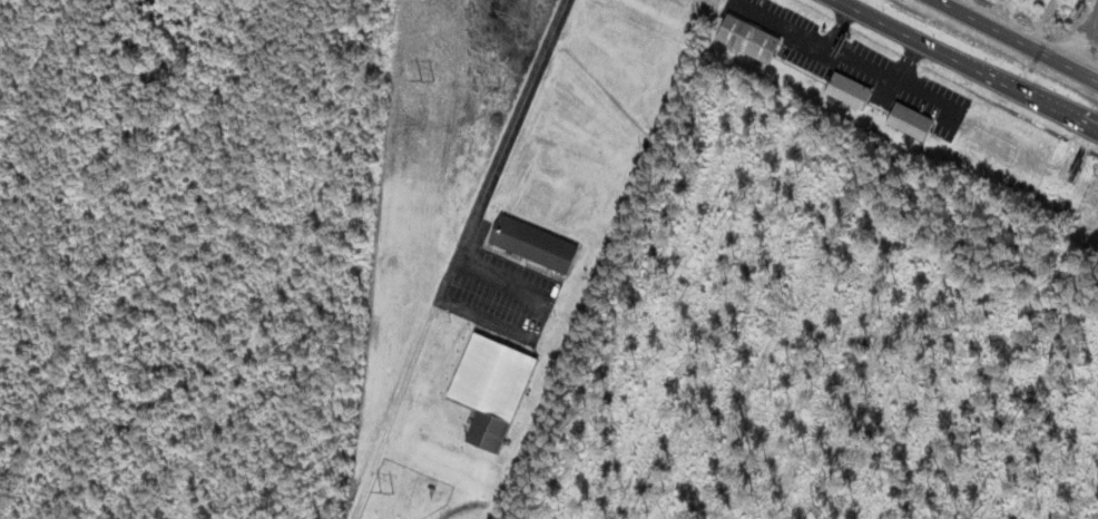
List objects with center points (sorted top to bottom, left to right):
building: (746, 38)
road: (1016, 41)
road: (965, 67)
power tower: (425, 81)
building: (846, 90)
building: (909, 123)
building: (532, 242)
building: (489, 385)
power tower: (385, 491)

